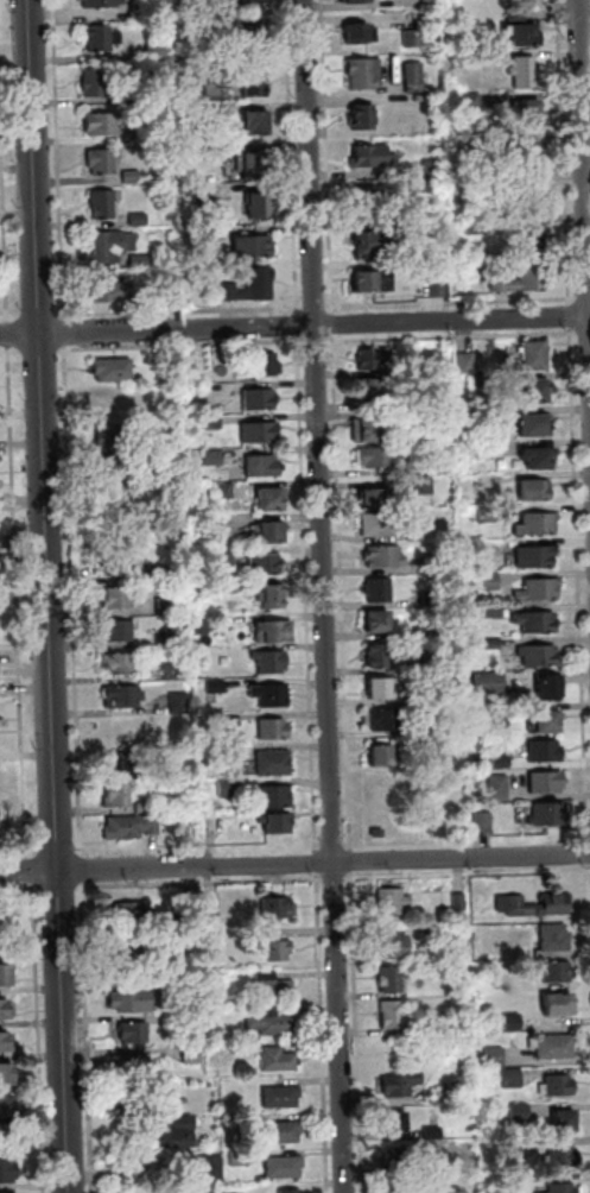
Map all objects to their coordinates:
building: (356, 2)
building: (102, 4)
building: (254, 4)
building: (431, 4)
building: (218, 11)
road: (562, 11)
building: (146, 12)
building: (519, 12)
building: (216, 30)
building: (362, 36)
building: (522, 37)
building: (258, 38)
building: (415, 39)
building: (102, 40)
building: (158, 52)
building: (525, 72)
building: (364, 75)
building: (415, 78)
building: (256, 83)
building: (96, 84)
building: (131, 97)
building: (472, 101)
building: (185, 109)
road: (586, 109)
building: (528, 114)
building: (367, 118)
building: (256, 124)
building: (106, 126)
building: (151, 134)
road: (566, 149)
road: (293, 153)
road: (329, 153)
building: (522, 154)
road: (59, 157)
building: (372, 158)
building: (103, 163)
building: (255, 165)
road: (5, 168)
building: (432, 169)
building: (133, 178)
building: (423, 189)
building: (204, 194)
building: (528, 196)
building: (373, 204)
building: (104, 206)
building: (262, 209)
building: (140, 220)
building: (475, 226)
building: (420, 228)
building: (527, 239)
building: (112, 247)
building: (373, 247)
building: (254, 248)
building: (141, 263)
building: (524, 279)
building: (375, 284)
building: (262, 285)
building: (439, 288)
building: (108, 290)
building: (234, 293)
building: (167, 298)
road: (452, 303)
road: (316, 307)
road: (182, 310)
road: (43, 314)
road: (11, 316)
road: (571, 316)
road: (298, 323)
road: (294, 324)
road: (335, 324)
road: (453, 337)
road: (318, 340)
road: (184, 345)
building: (537, 358)
building: (376, 360)
building: (468, 365)
building: (208, 366)
building: (269, 366)
building: (115, 372)
building: (483, 385)
building: (368, 396)
building: (535, 396)
building: (261, 402)
building: (214, 424)
building: (534, 429)
building: (368, 433)
building: (262, 434)
building: (113, 436)
building: (170, 442)
building: (487, 452)
building: (215, 459)
building: (379, 460)
building: (538, 460)
building: (114, 468)
building: (265, 468)
building: (439, 468)
building: (169, 472)
building: (488, 480)
building: (424, 486)
building: (538, 491)
building: (226, 492)
building: (374, 499)
building: (272, 503)
building: (116, 504)
building: (163, 510)
building: (489, 515)
building: (540, 524)
building: (218, 525)
building: (381, 525)
building: (269, 535)
building: (419, 535)
road: (581, 555)
building: (387, 556)
building: (537, 557)
building: (227, 558)
building: (438, 564)
building: (121, 566)
building: (265, 566)
building: (165, 576)
building: (490, 581)
building: (228, 588)
building: (381, 589)
building: (539, 589)
road: (309, 595)
road: (51, 596)
road: (326, 596)
road: (345, 596)
building: (274, 598)
building: (119, 599)
building: (433, 599)
building: (169, 606)
building: (537, 621)
building: (379, 625)
building: (203, 626)
building: (119, 632)
building: (275, 633)
building: (175, 639)
building: (381, 655)
building: (540, 655)
building: (436, 661)
building: (273, 663)
building: (122, 664)
building: (175, 671)
building: (490, 683)
building: (550, 686)
building: (218, 687)
building: (380, 689)
building: (272, 696)
building: (430, 696)
building: (125, 698)
building: (180, 705)
building: (387, 721)
building: (217, 722)
building: (547, 726)
building: (275, 731)
building: (423, 732)
building: (546, 752)
building: (218, 756)
building: (383, 757)
building: (275, 764)
building: (449, 764)
building: (125, 765)
building: (546, 782)
building: (230, 789)
building: (501, 789)
building: (120, 797)
building: (277, 797)
building: (147, 809)
building: (551, 816)
building: (211, 825)
building: (277, 826)
building: (132, 828)
road: (322, 847)
road: (336, 847)
road: (350, 847)
road: (318, 861)
road: (354, 861)
road: (294, 864)
road: (84, 876)
road: (336, 878)
road: (351, 878)
road: (203, 883)
road: (70, 886)
building: (190, 897)
building: (393, 903)
building: (461, 903)
building: (535, 907)
building: (215, 908)
building: (280, 908)
building: (4, 914)
building: (134, 914)
building: (432, 930)
building: (166, 938)
building: (556, 939)
building: (279, 951)
building: (401, 951)
building: (133, 957)
building: (558, 974)
building: (268, 977)
building: (488, 978)
building: (394, 979)
building: (6, 980)
building: (172, 980)
building: (278, 990)
building: (132, 1003)
building: (558, 1009)
building: (5, 1012)
building: (394, 1017)
building: (172, 1020)
building: (274, 1023)
building: (514, 1023)
road: (324, 1031)
road: (359, 1033)
building: (135, 1034)
road: (89, 1036)
building: (6, 1044)
building: (217, 1047)
building: (557, 1049)
building: (194, 1053)
building: (495, 1056)
building: (280, 1060)
building: (135, 1065)
building: (7, 1078)
building: (514, 1078)
building: (400, 1080)
building: (559, 1082)
building: (283, 1098)
building: (6, 1109)
building: (520, 1112)
building: (394, 1116)
building: (564, 1116)
building: (178, 1130)
building: (284, 1134)
building: (399, 1154)
building: (562, 1154)
building: (241, 1159)
building: (214, 1167)
building: (286, 1169)
building: (8, 1174)
building: (515, 1178)
building: (400, 1183)
building: (560, 1187)
building: (199, 1189)
building: (292, 1191)

